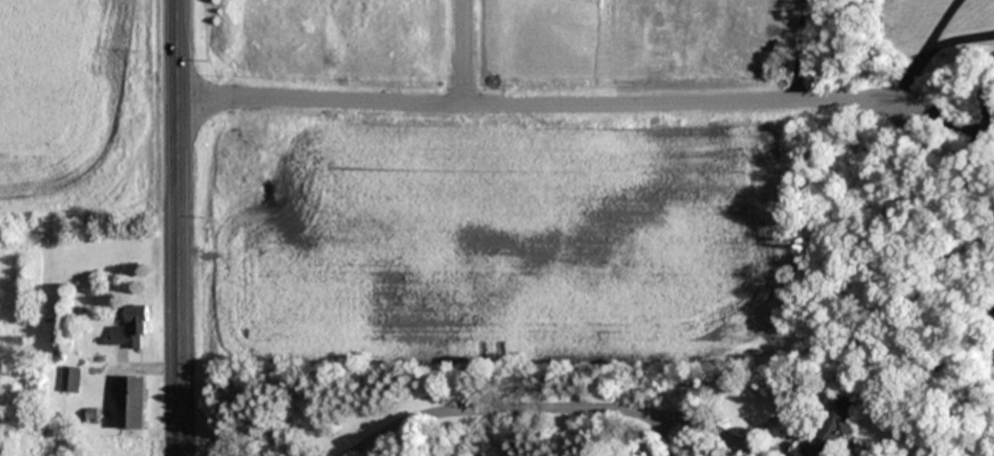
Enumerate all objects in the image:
road: (933, 25)
road: (955, 40)
road: (799, 51)
road: (465, 53)
road: (902, 77)
road: (546, 107)
road: (180, 227)
building: (131, 329)
building: (70, 380)
building: (132, 403)
road: (559, 405)
building: (93, 414)
building: (832, 429)

